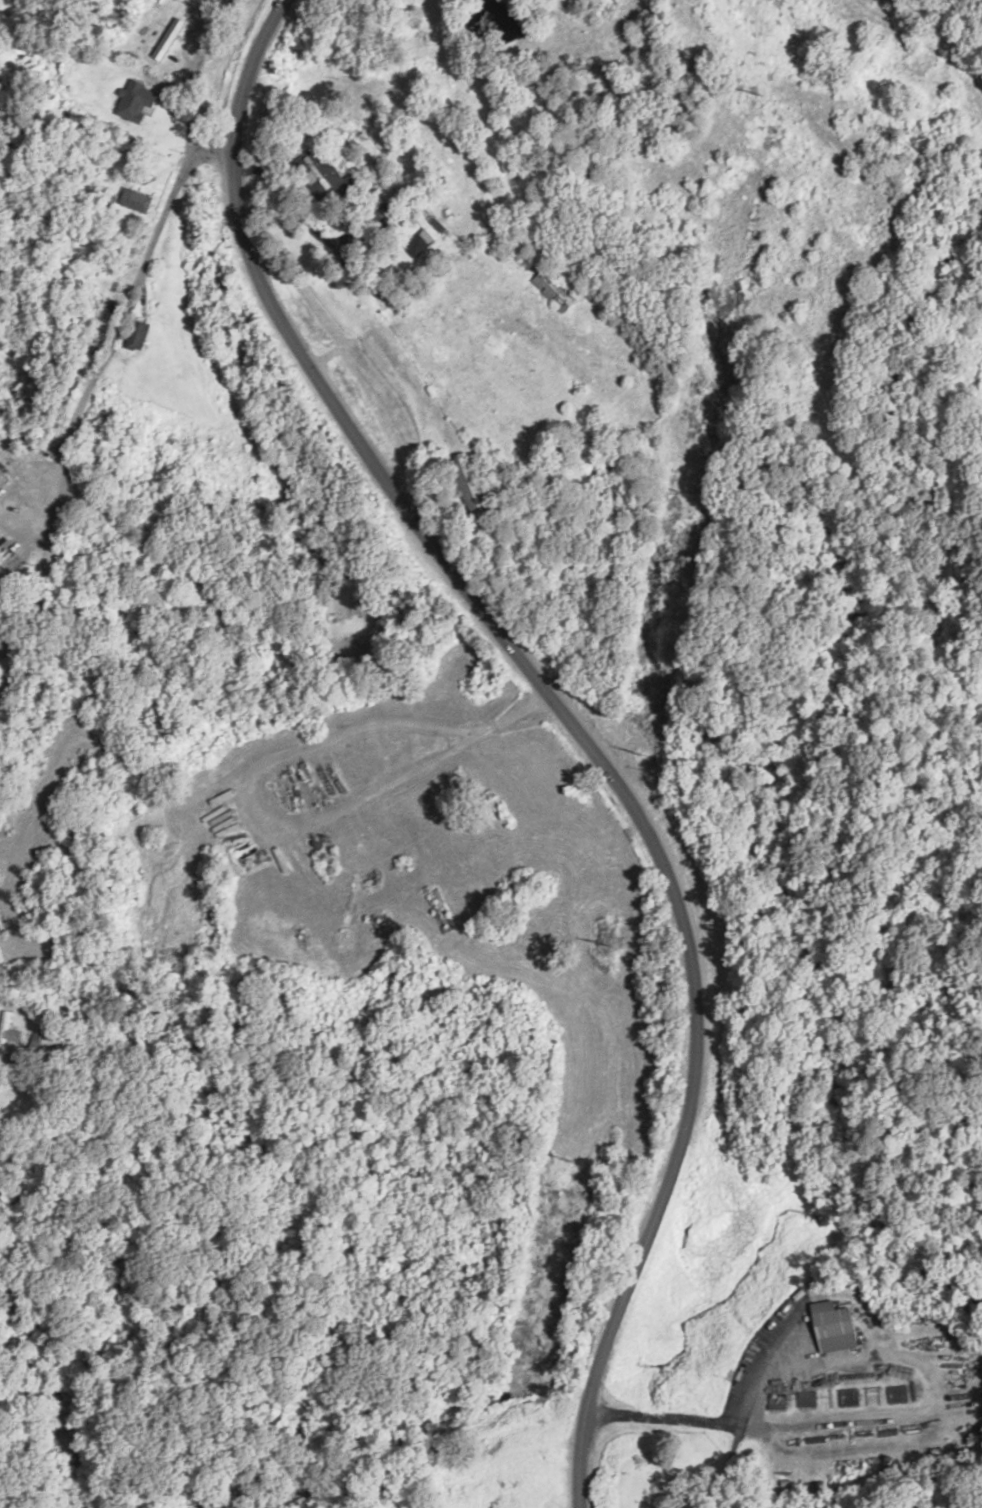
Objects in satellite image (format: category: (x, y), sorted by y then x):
road: (925, 33)
building: (170, 39)
building: (139, 101)
road: (214, 147)
building: (329, 172)
building: (138, 201)
building: (978, 207)
building: (422, 242)
road: (136, 283)
building: (556, 290)
building: (141, 336)
building: (471, 474)
road: (566, 720)
building: (9, 1030)
building: (837, 1327)

